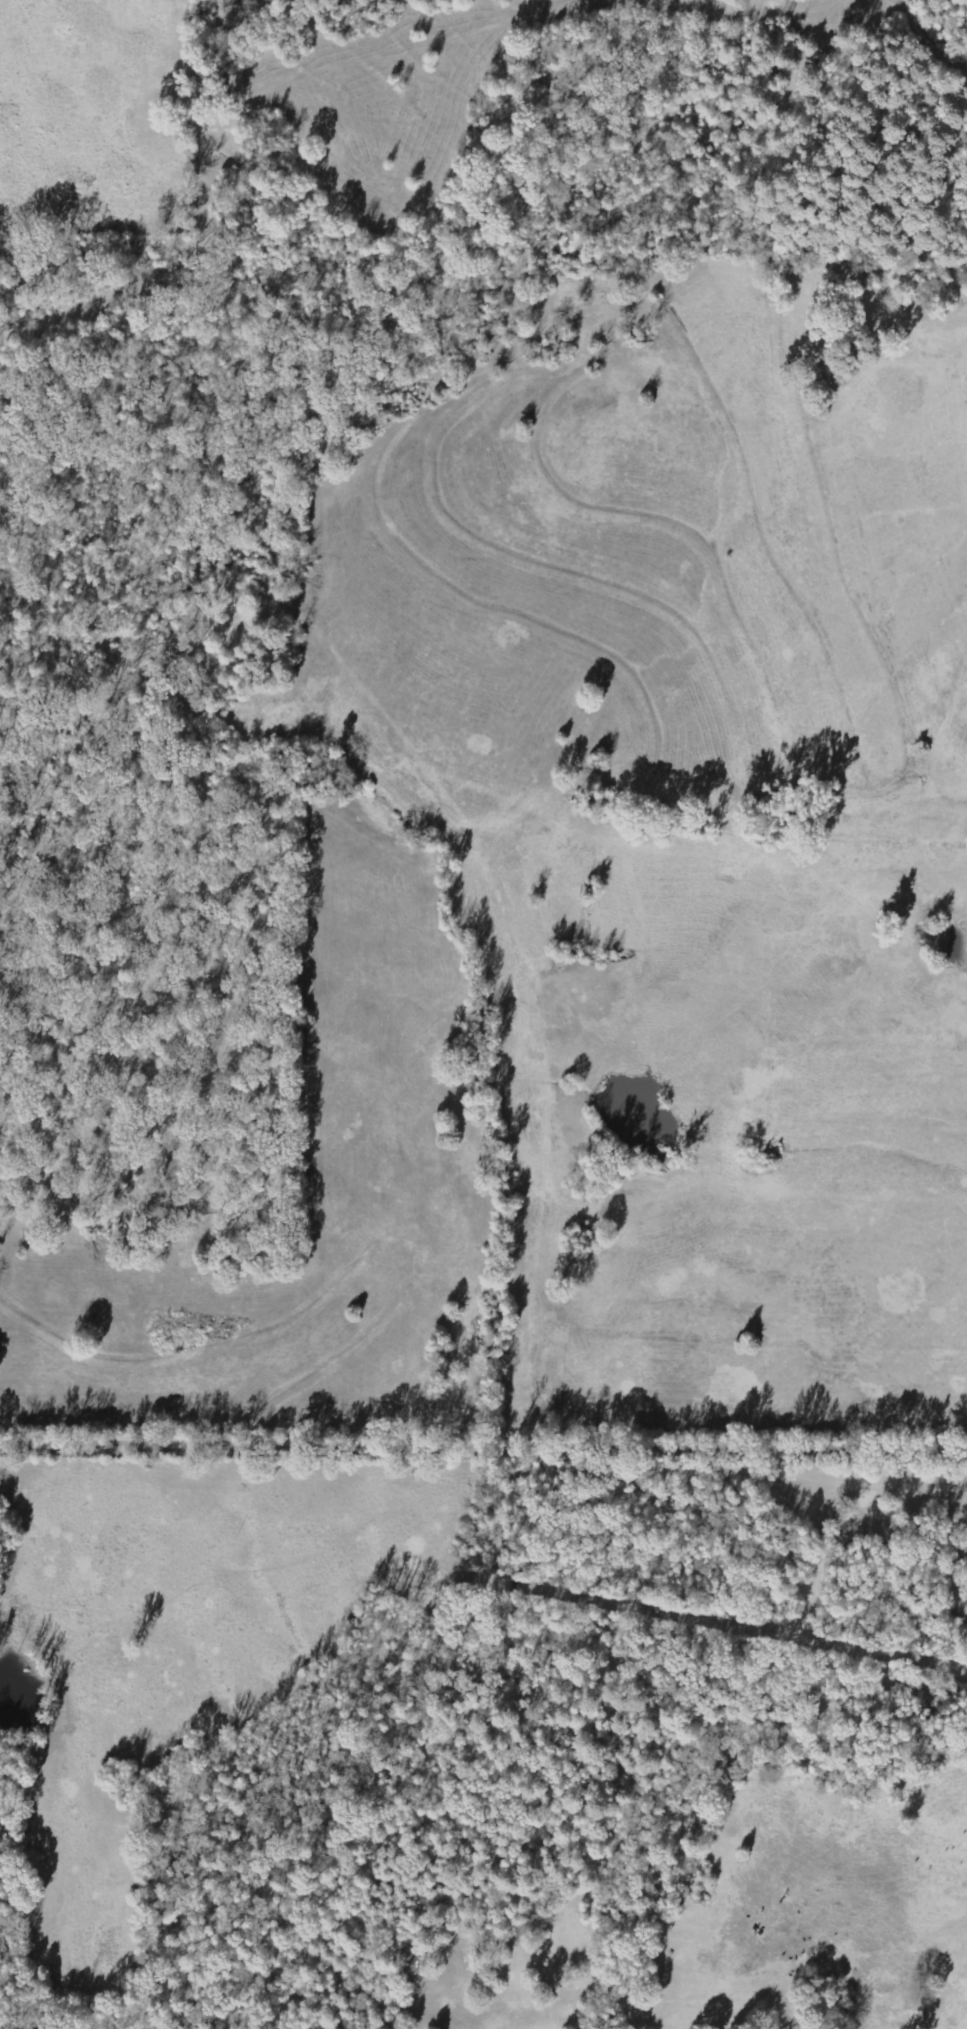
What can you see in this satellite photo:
road: (85, 1448)
road: (568, 1451)

